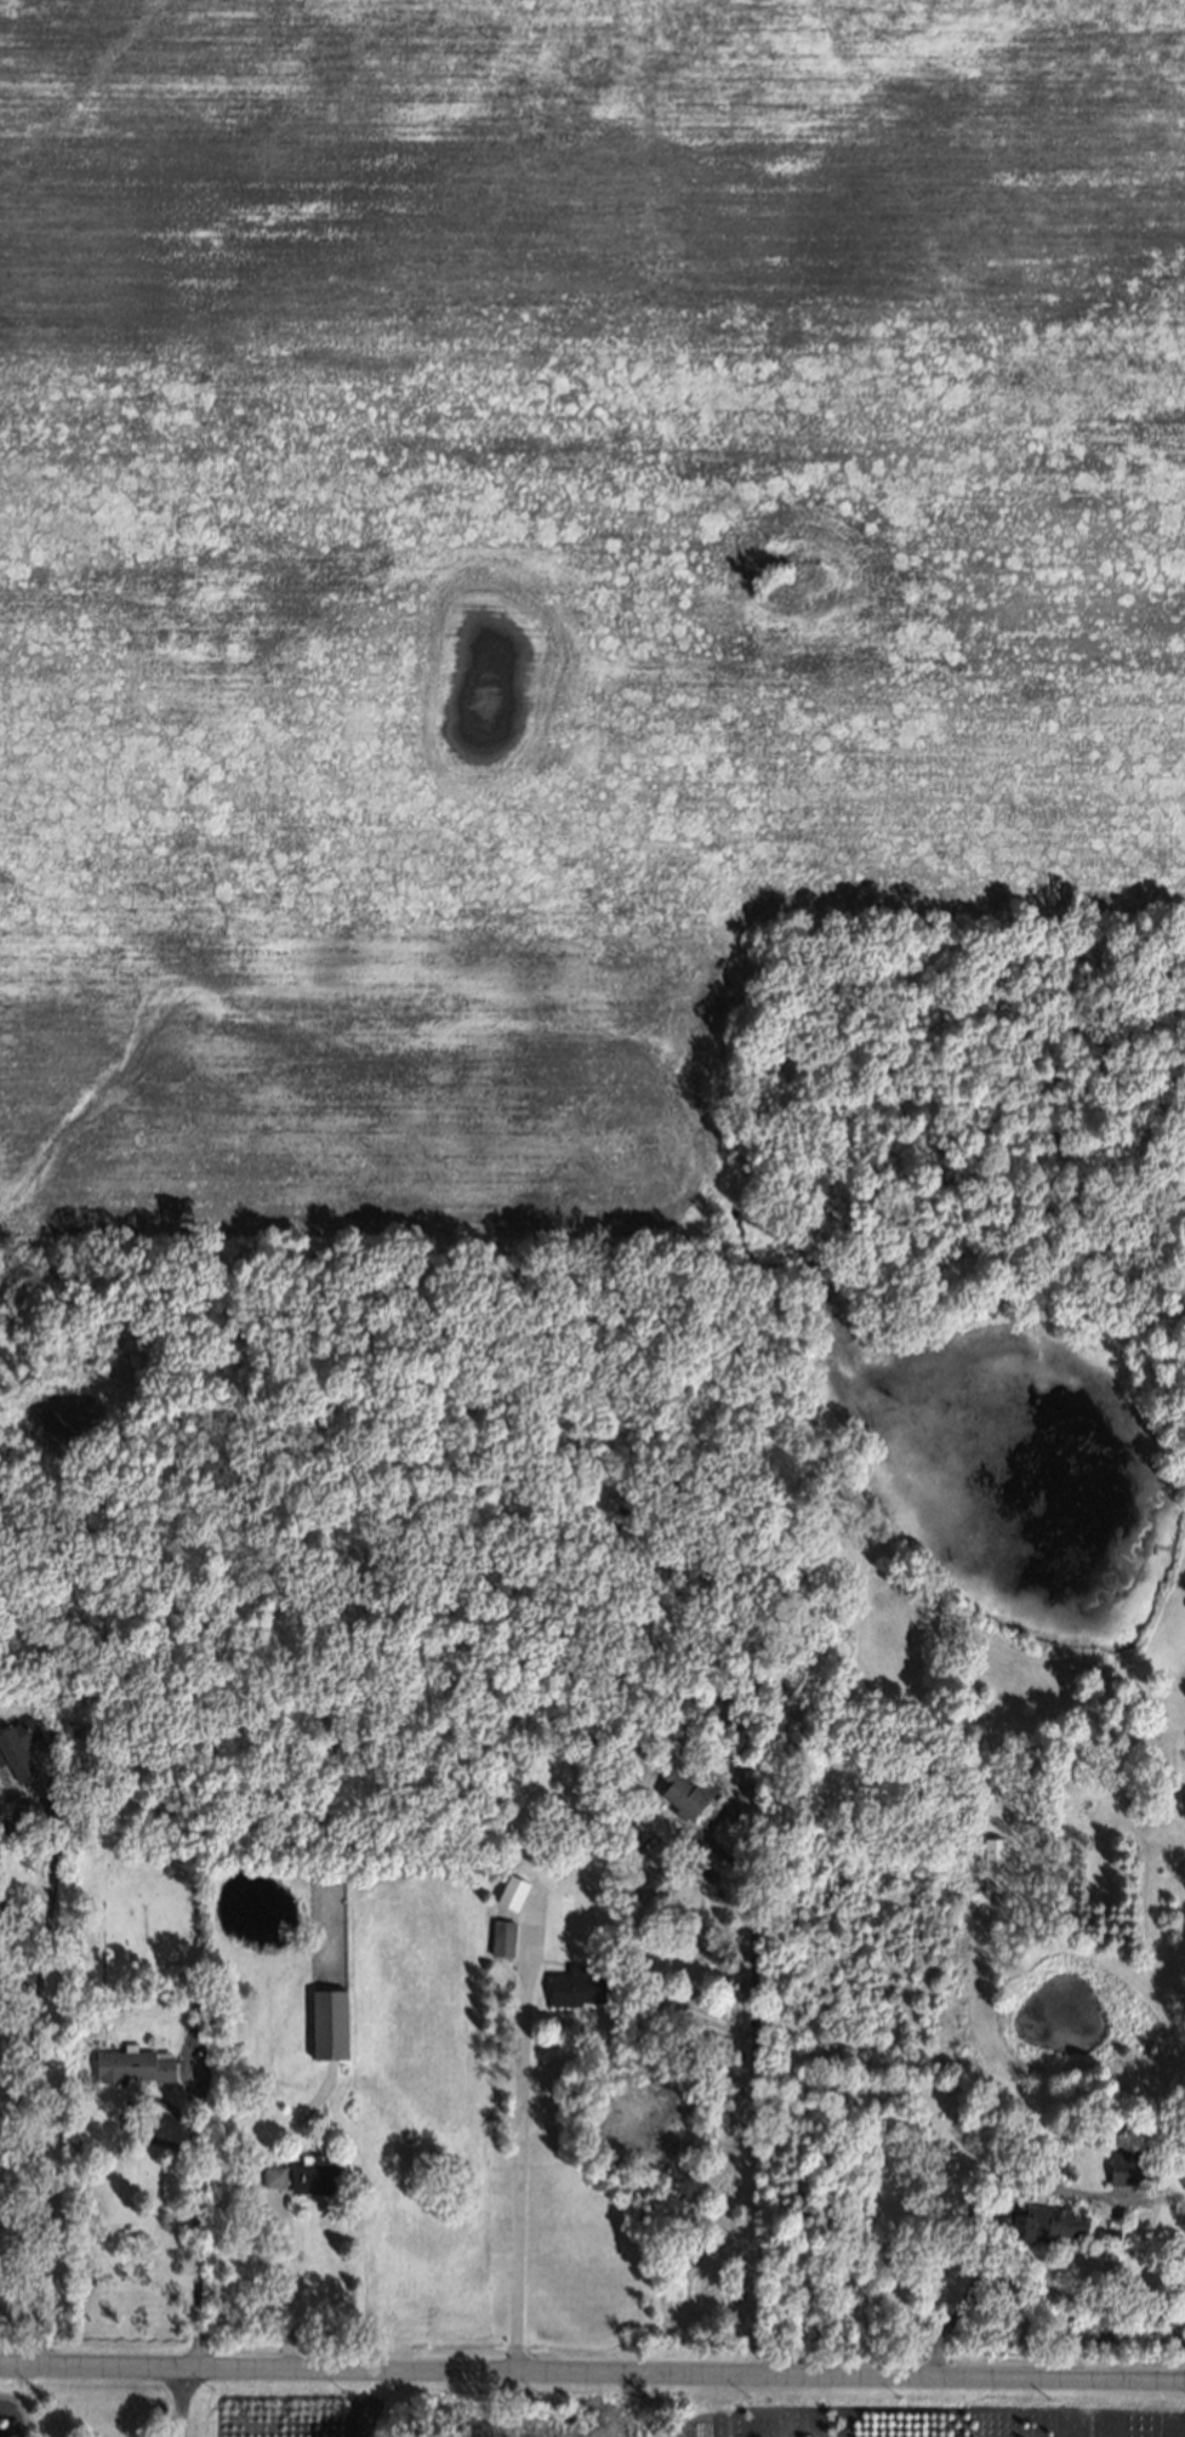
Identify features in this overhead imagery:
building: (18, 1747)
building: (742, 1769)
building: (683, 1793)
building: (1183, 1795)
building: (651, 1855)
building: (993, 1863)
road: (51, 1889)
building: (511, 1890)
building: (503, 1936)
road: (15, 1966)
building: (577, 1988)
building: (325, 2022)
building: (136, 2062)
road: (750, 2099)
building: (1128, 2164)
road: (518, 2171)
building: (315, 2173)
building: (275, 2175)
road: (34, 2198)
road: (967, 2217)
building: (1038, 2222)
building: (1113, 2231)
road: (192, 2242)
road: (284, 2294)
road: (592, 2379)
road: (178, 2407)

